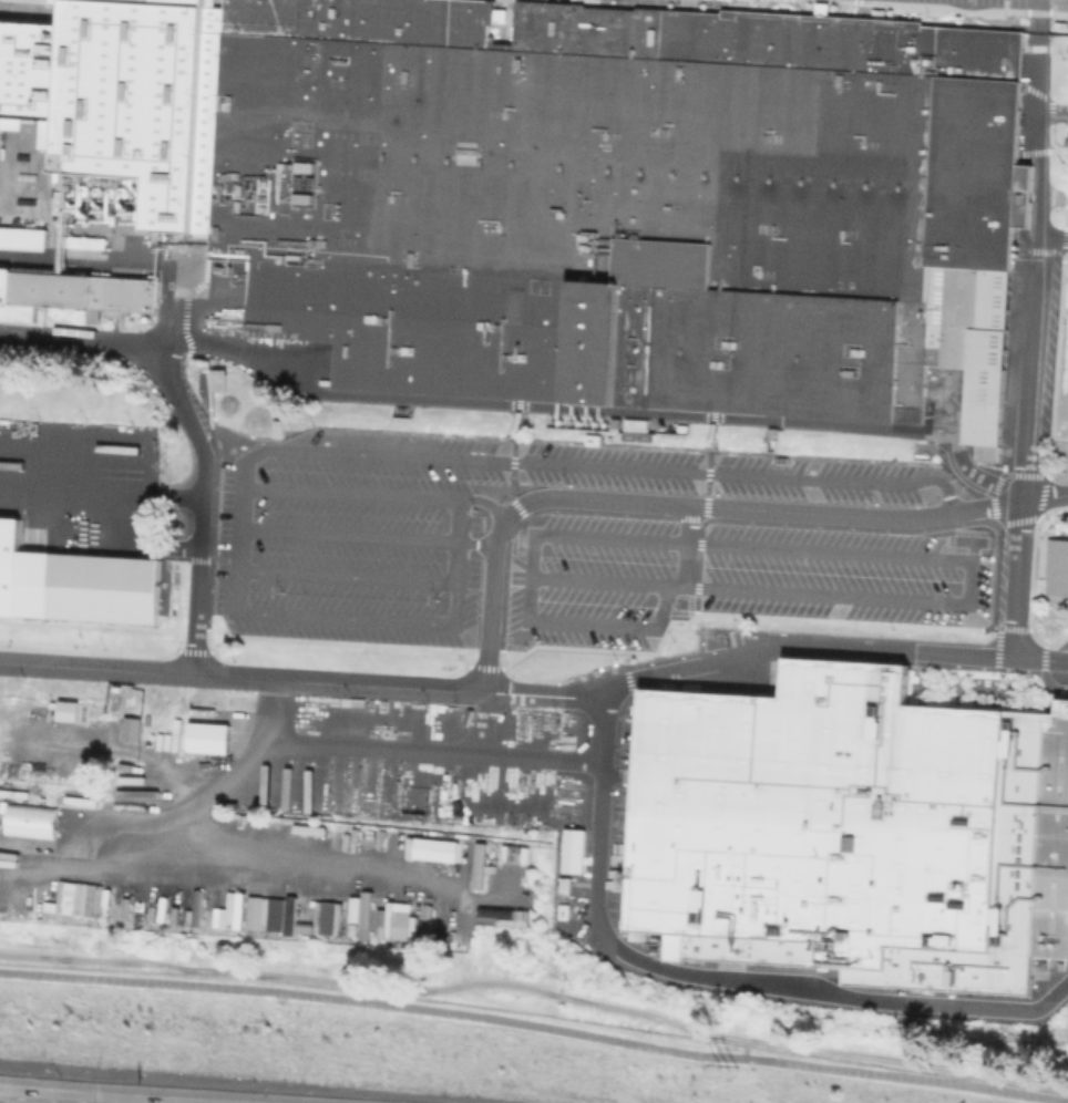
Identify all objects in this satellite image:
building: (569, 193)
building: (21, 239)
building: (78, 292)
road: (1030, 352)
building: (220, 378)
road: (196, 425)
building: (279, 426)
road: (382, 456)
road: (244, 463)
road: (737, 475)
road: (500, 481)
road: (103, 484)
road: (371, 494)
building: (1048, 515)
road: (459, 519)
road: (349, 534)
road: (476, 543)
road: (238, 550)
road: (495, 550)
road: (456, 560)
building: (1058, 568)
road: (347, 574)
building: (74, 581)
road: (1016, 592)
road: (363, 619)
road: (548, 695)
building: (65, 710)
road: (483, 724)
building: (130, 729)
building: (206, 738)
road: (437, 753)
road: (232, 773)
building: (822, 816)
building: (30, 819)
road: (604, 844)
building: (434, 849)
building: (572, 851)
building: (1011, 876)
building: (281, 911)
building: (401, 925)
building: (730, 947)
road: (535, 1024)
road: (24, 1099)
road: (19, 1101)

